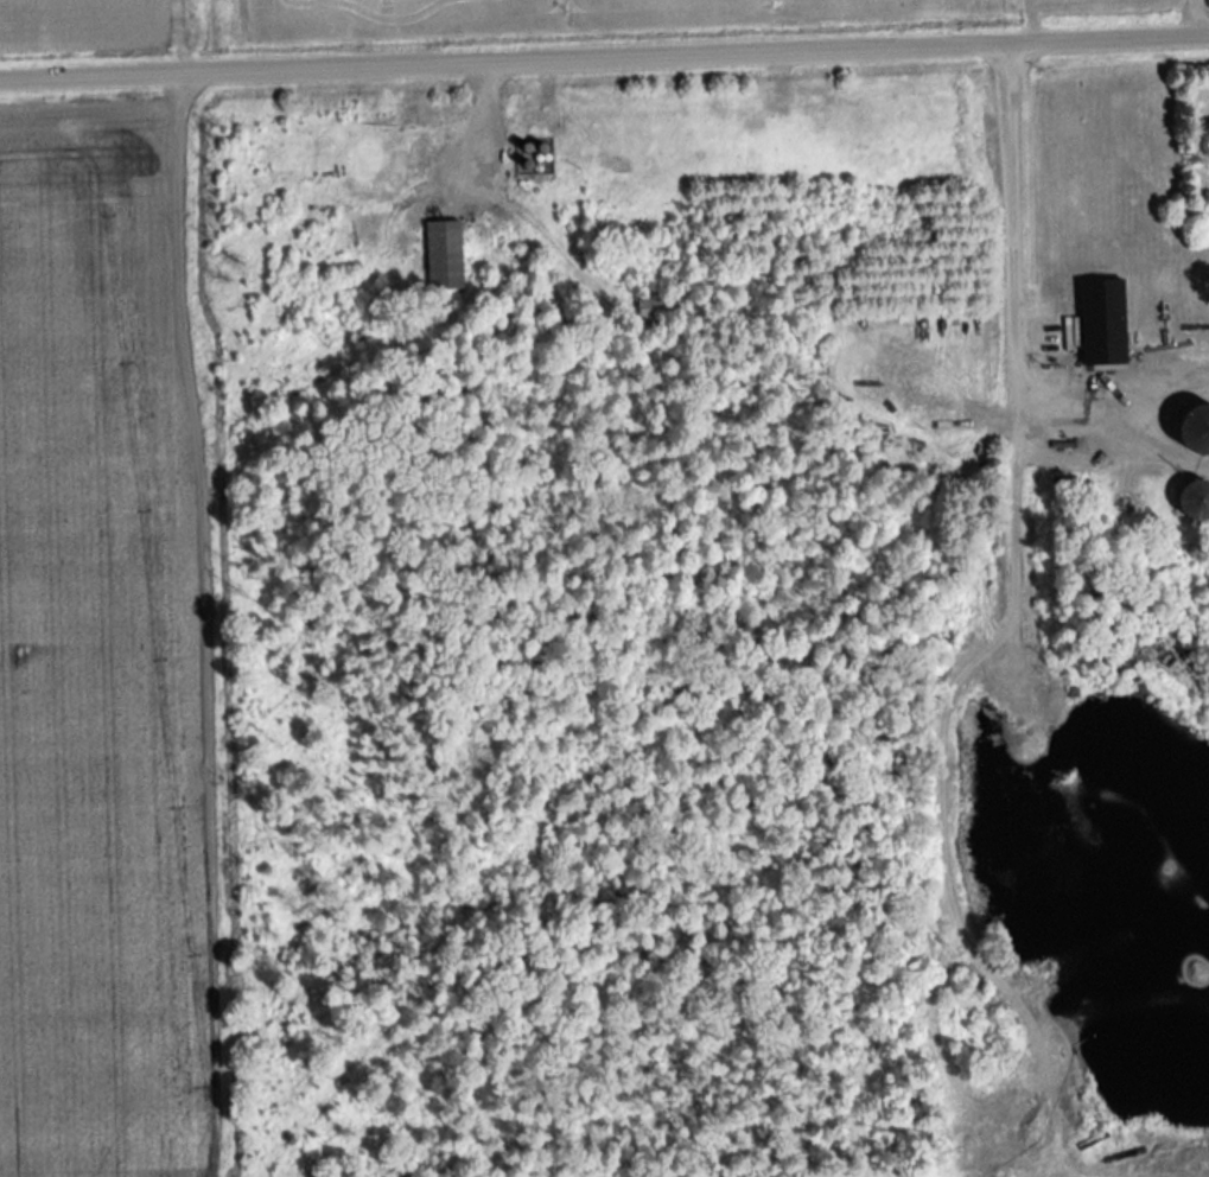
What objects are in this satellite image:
road: (604, 56)
building: (443, 252)
building: (657, 307)
building: (1195, 425)
building: (1192, 495)

